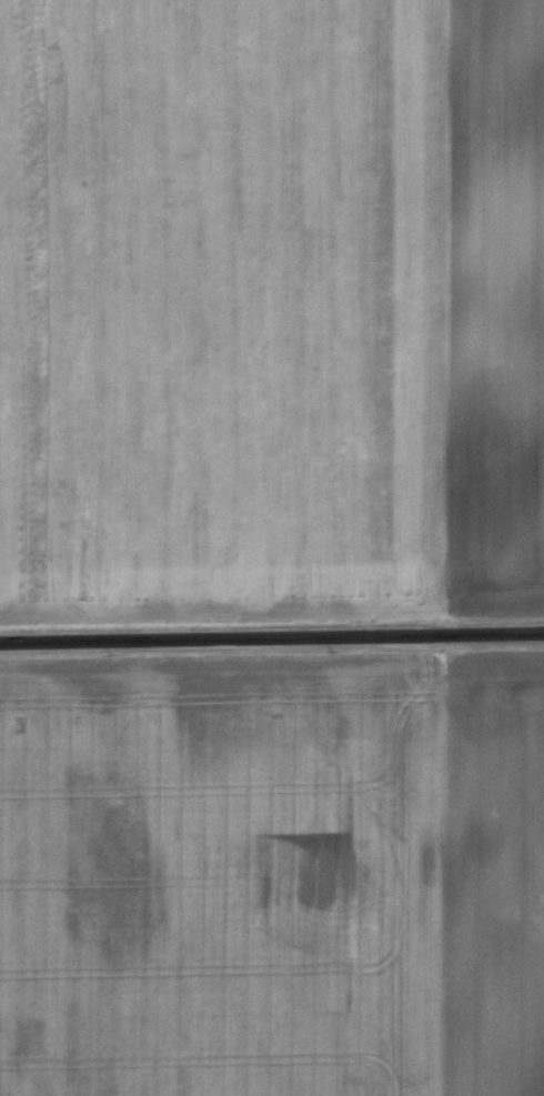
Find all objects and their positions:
road: (272, 643)
crop: (273, 878)

